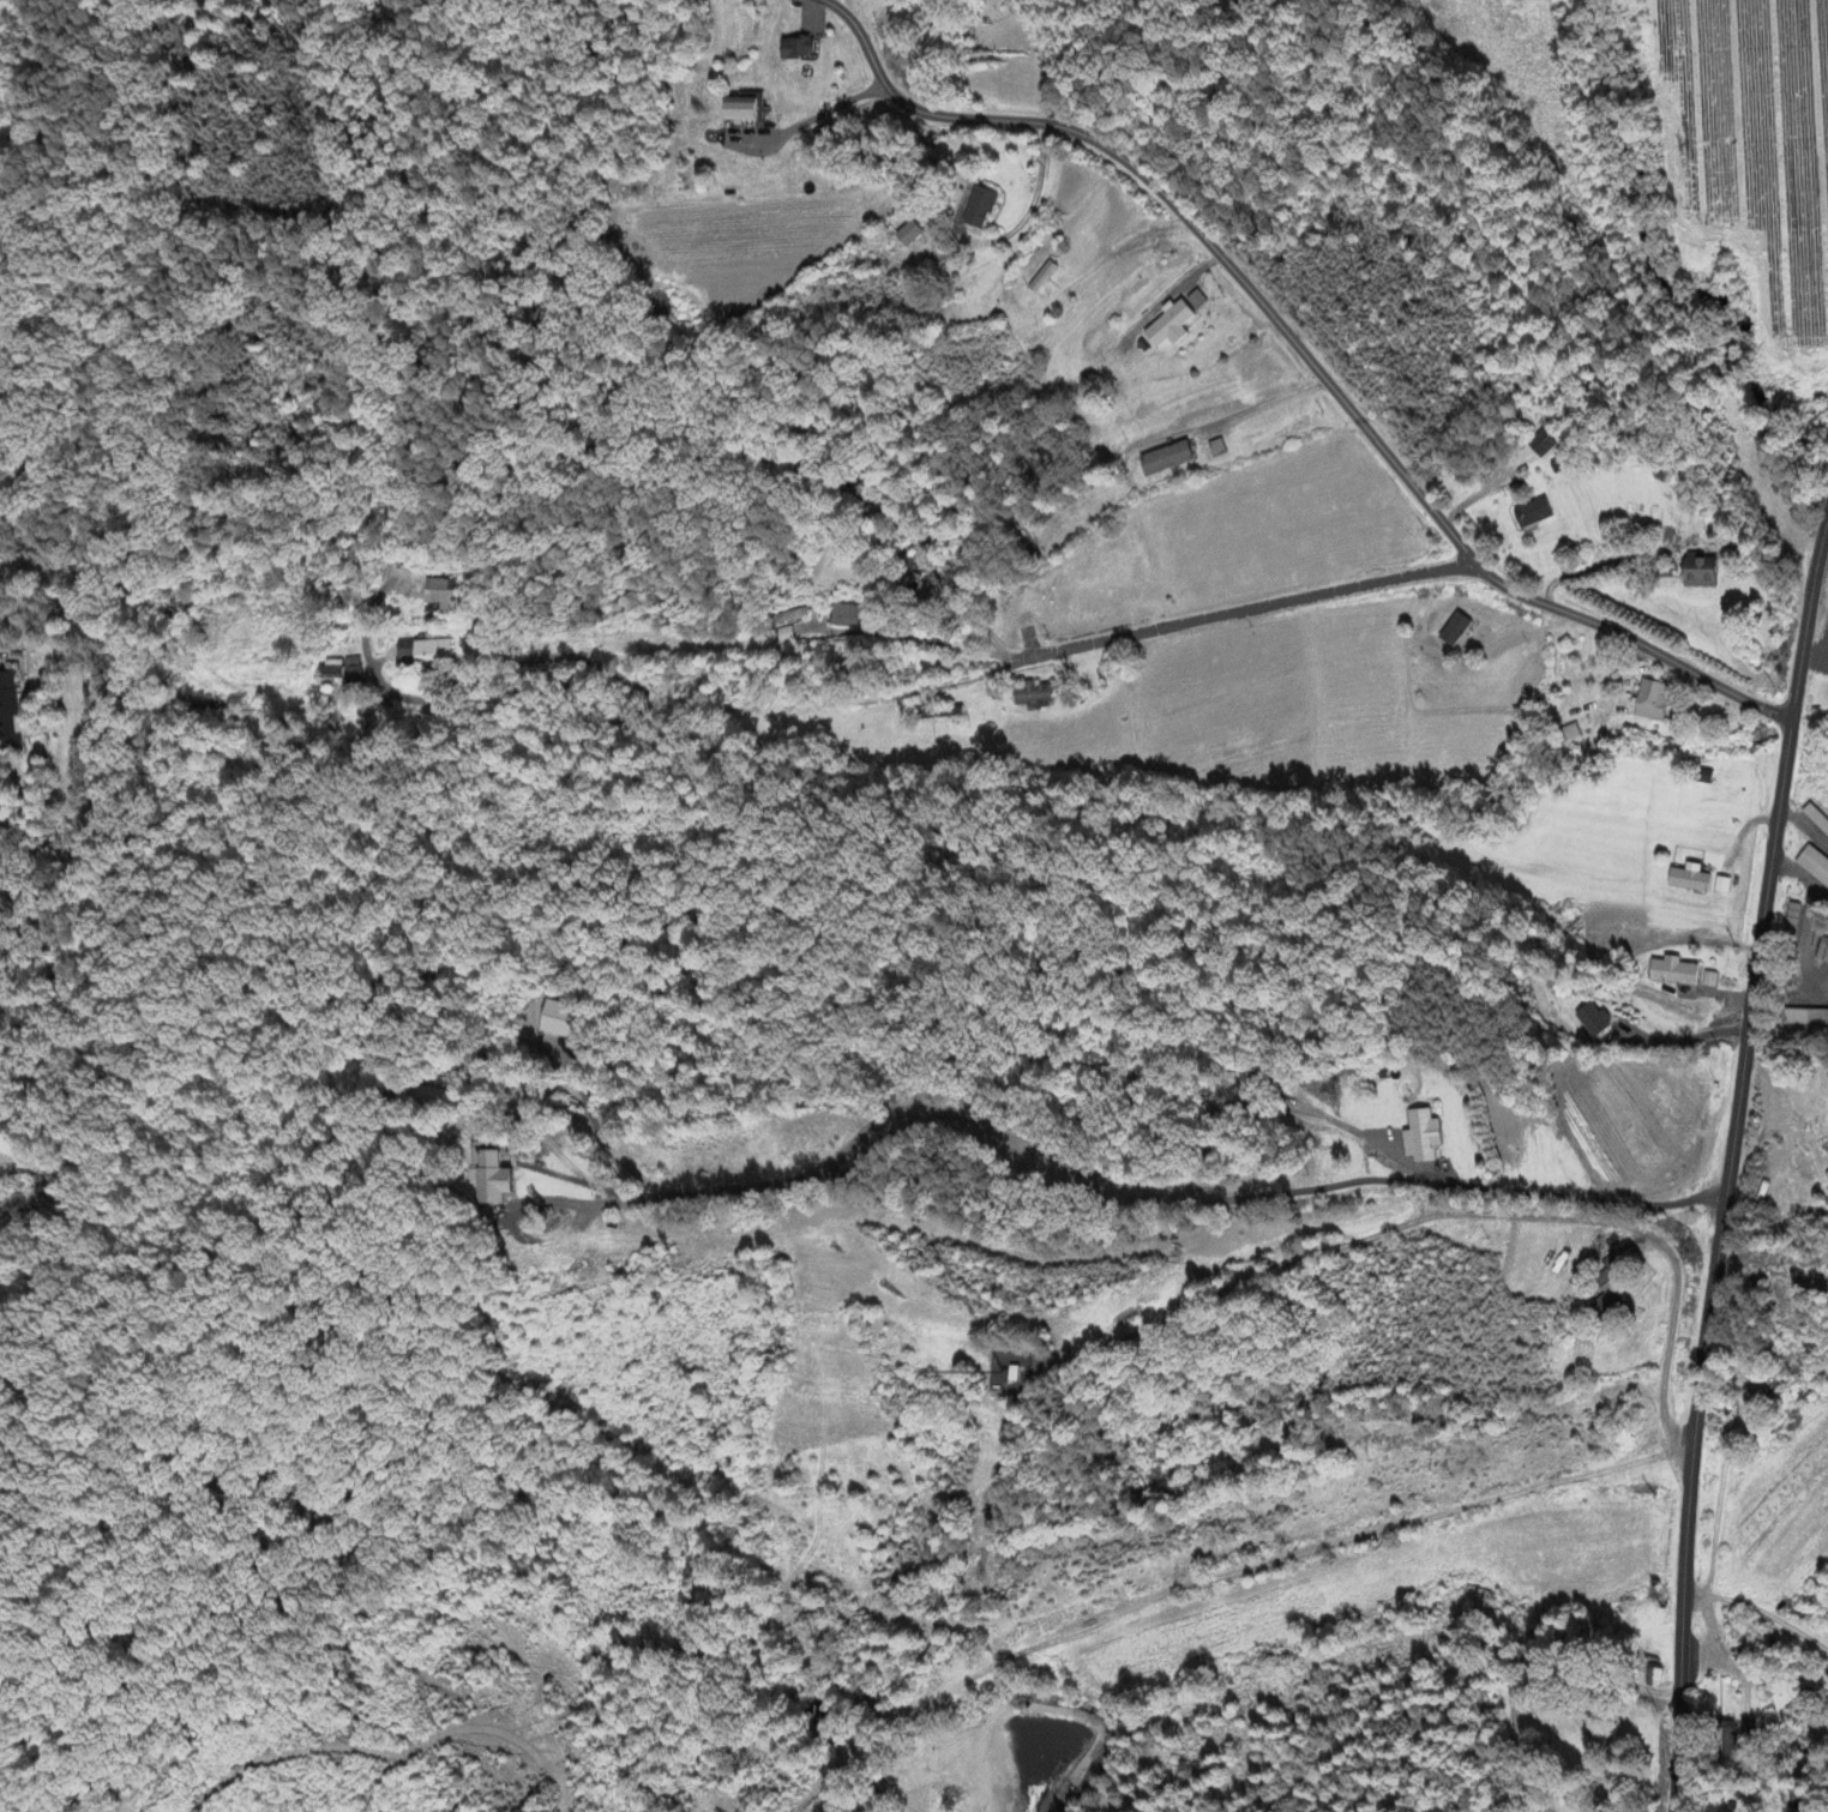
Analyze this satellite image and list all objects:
building: (801, 50)
road: (820, 104)
building: (746, 113)
building: (982, 209)
road: (1029, 211)
building: (910, 236)
building: (1199, 302)
building: (1174, 326)
road: (1297, 347)
road: (1262, 411)
building: (1540, 446)
building: (1219, 451)
building: (1169, 462)
building: (1529, 514)
road: (1823, 514)
building: (1695, 574)
building: (445, 595)
road: (1256, 609)
building: (790, 618)
building: (846, 618)
building: (1450, 632)
building: (786, 636)
building: (427, 654)
building: (354, 679)
building: (1038, 698)
building: (1648, 702)
road: (708, 708)
building: (12, 718)
building: (1815, 821)
building: (1812, 867)
road: (1798, 877)
building: (1685, 880)
building: (1719, 887)
building: (1821, 956)
building: (1676, 974)
building: (1805, 1019)
building: (1595, 1023)
road: (1682, 1040)
building: (1426, 1138)
road: (1726, 1168)
building: (492, 1178)
road: (1116, 1184)
road: (1668, 1336)
road: (1716, 1505)
road: (1760, 1614)
building: (1653, 1675)
building: (1805, 1693)
building: (1745, 1726)
building: (1797, 1800)

